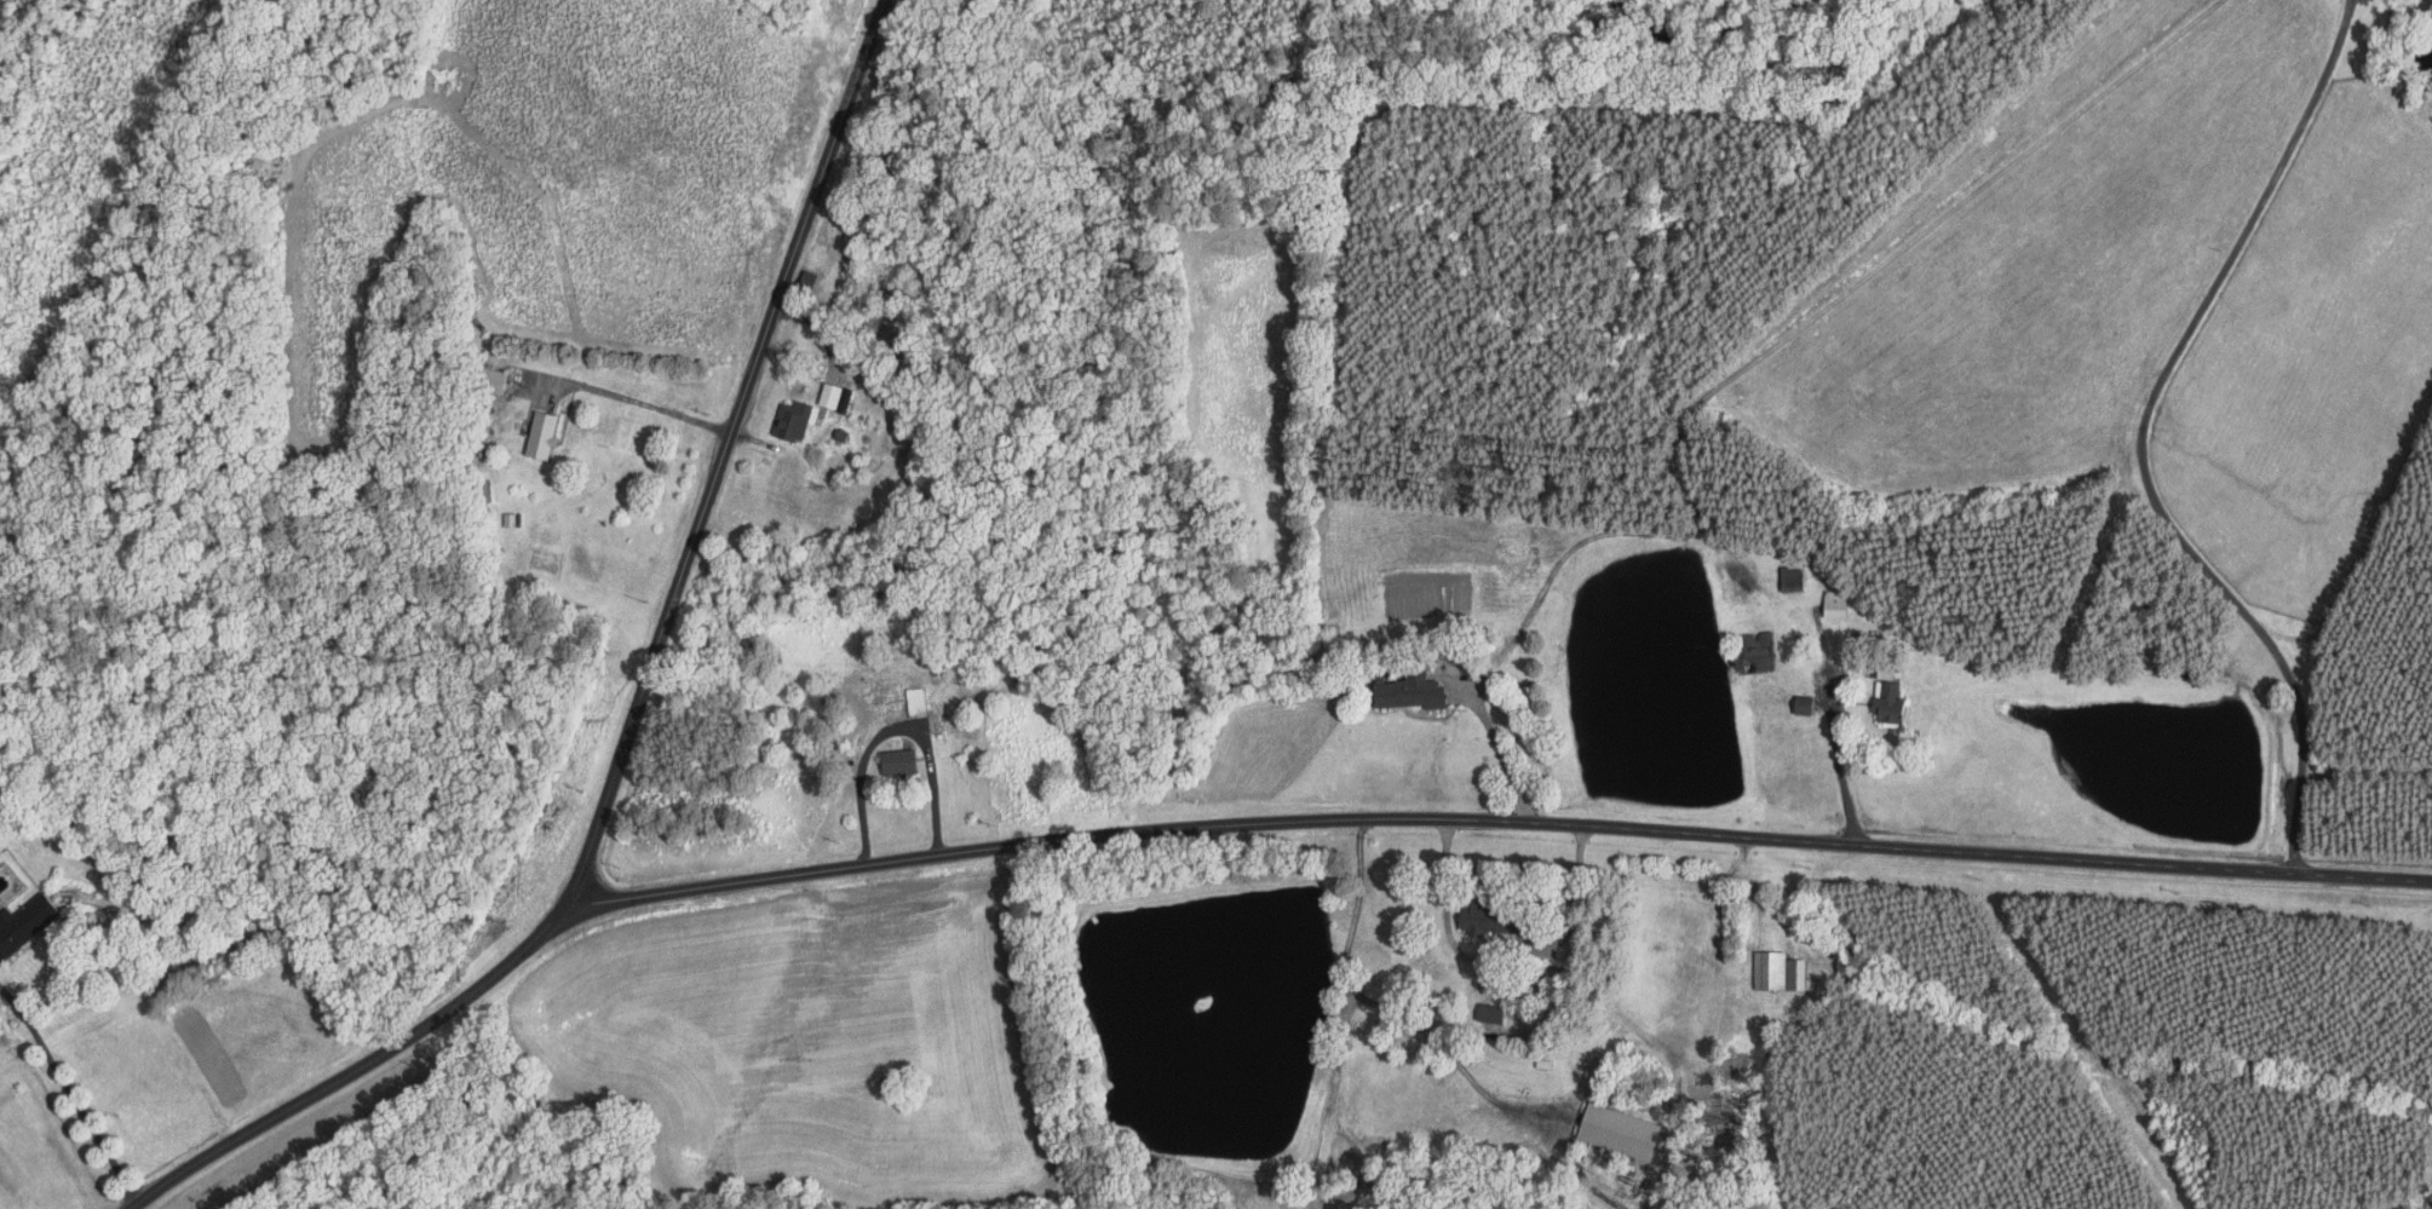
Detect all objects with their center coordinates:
road: (777, 316)
building: (830, 393)
road: (640, 405)
building: (794, 419)
building: (541, 433)
road: (2139, 436)
building: (1792, 575)
building: (1835, 603)
building: (1757, 654)
building: (1410, 690)
building: (1888, 698)
road: (1834, 724)
building: (898, 760)
road: (1502, 760)
road: (1495, 818)
building: (1483, 917)
building: (24, 922)
road: (1502, 954)
building: (1778, 971)
road: (476, 986)
road: (1390, 1009)
building: (1490, 1012)
road: (67, 1099)
building: (1620, 1130)

